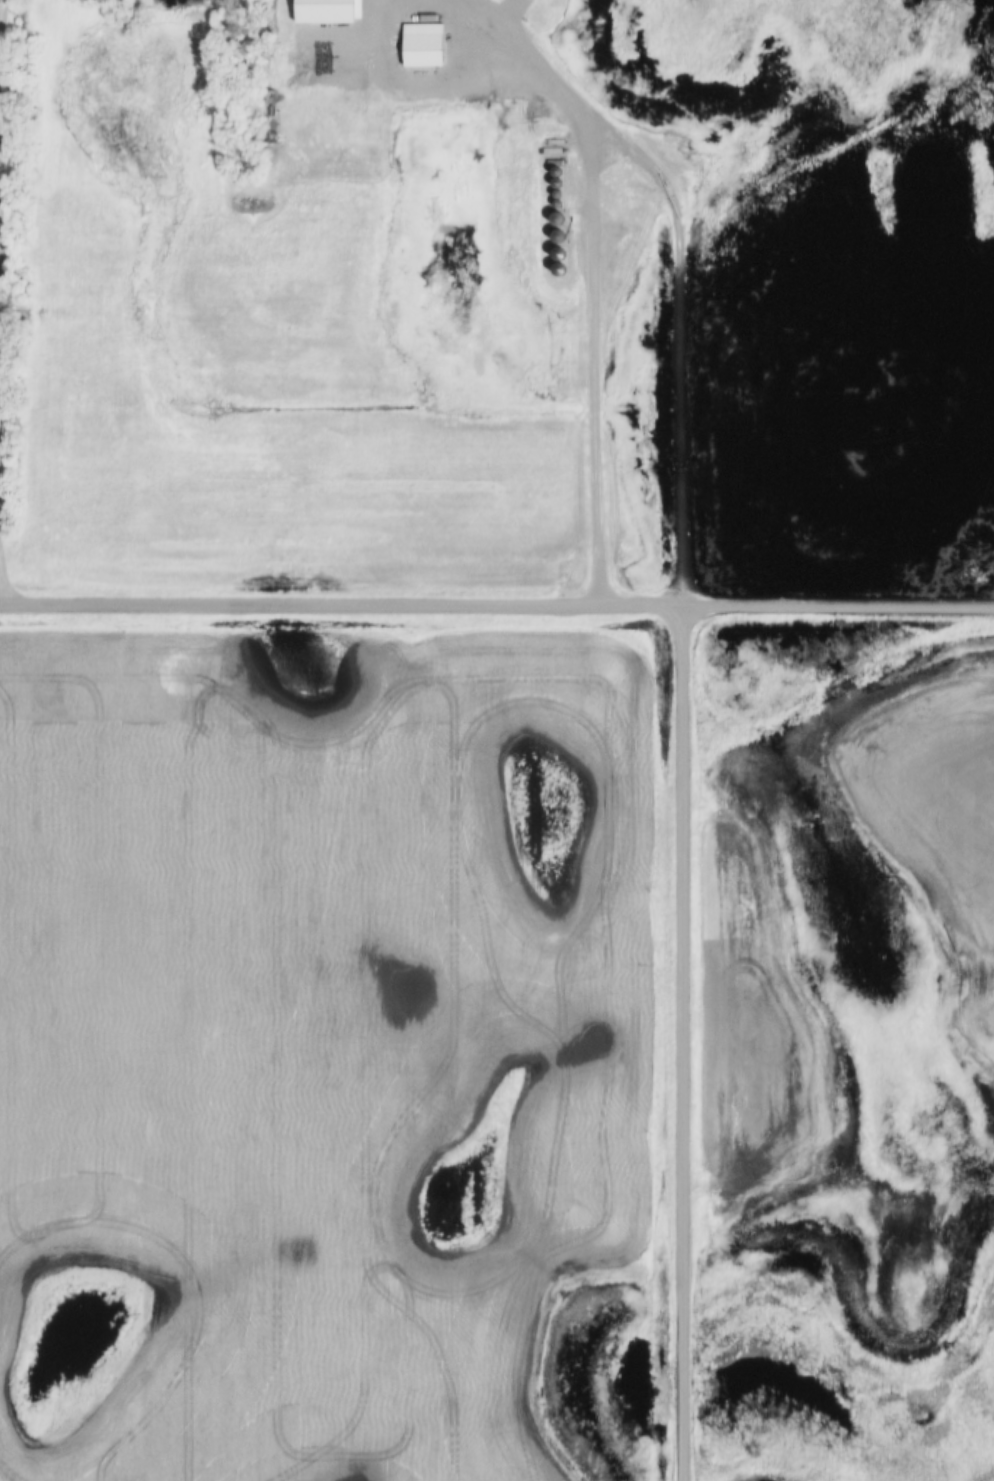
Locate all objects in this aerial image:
building: (535, 0)
building: (423, 45)
building: (301, 69)
building: (557, 172)
building: (559, 220)
building: (559, 237)
road: (681, 266)
building: (592, 275)
road: (595, 353)
road: (496, 608)
road: (681, 1044)

